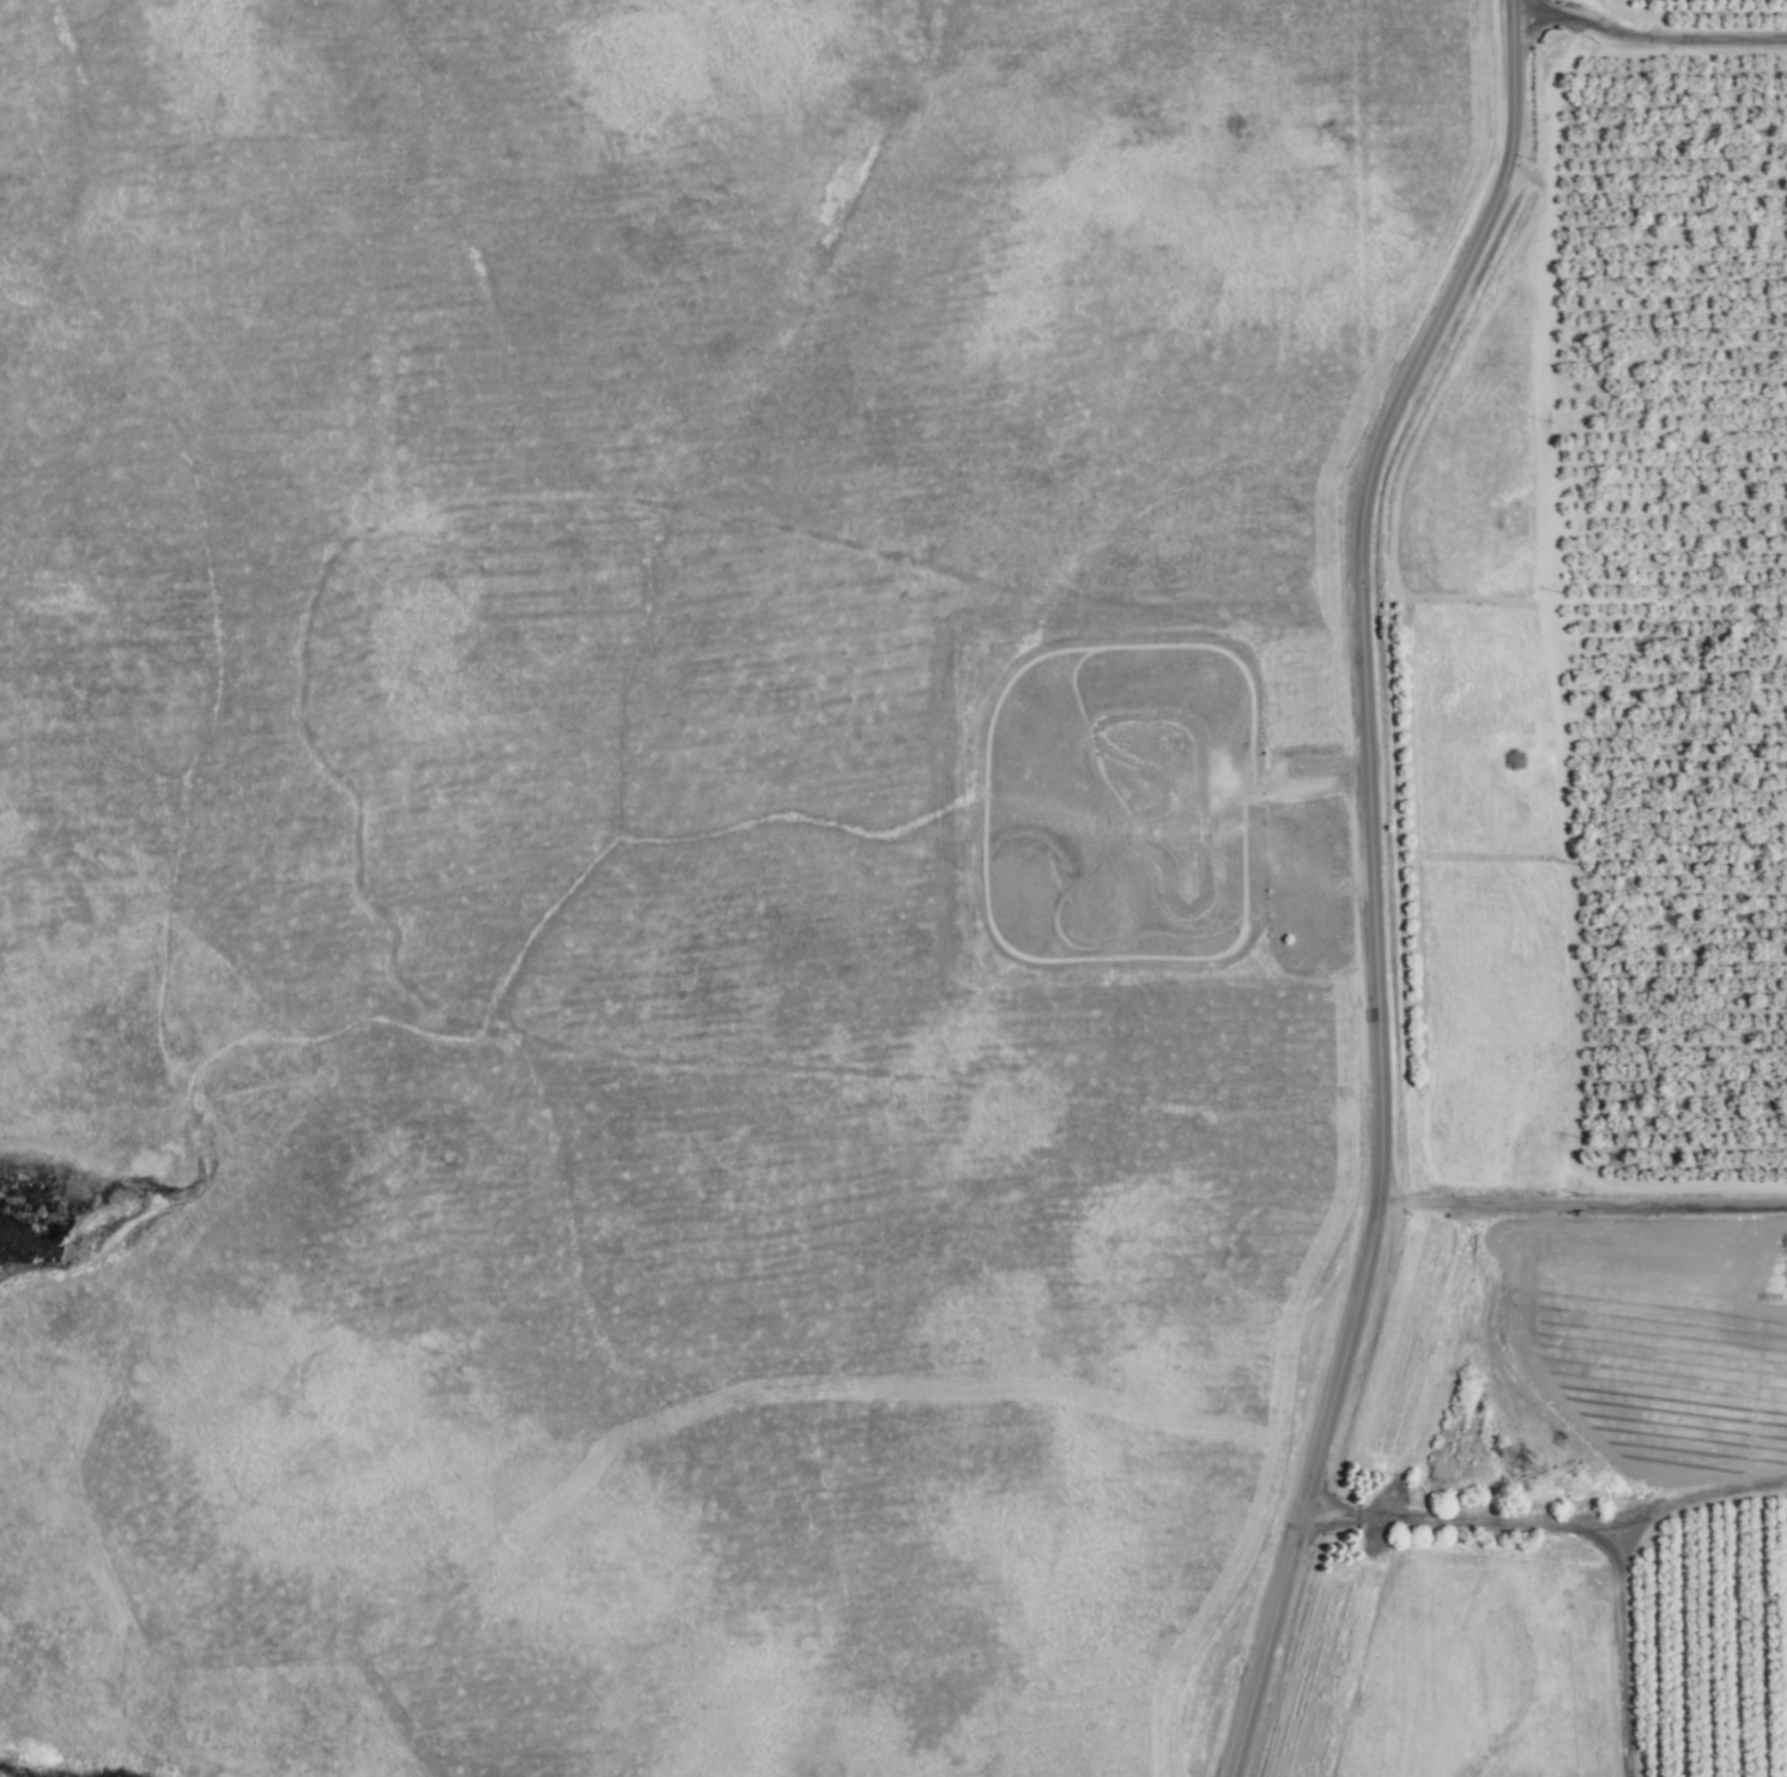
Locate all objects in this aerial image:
road: (1649, 38)
crop: (1683, 570)
crop: (1668, 822)
road: (1375, 882)
road: (1585, 1193)

